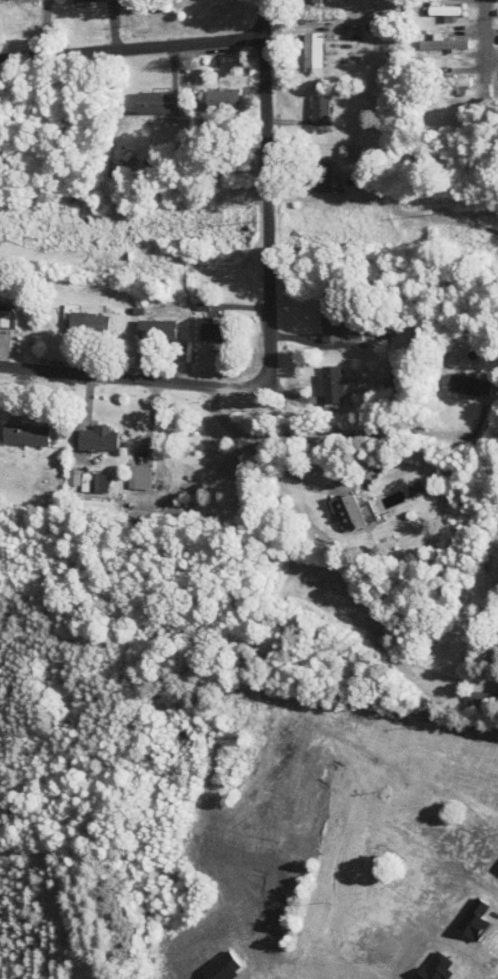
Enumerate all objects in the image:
building: (88, 0)
road: (492, 0)
building: (310, 1)
road: (469, 9)
building: (441, 10)
road: (112, 28)
road: (289, 28)
road: (47, 33)
road: (492, 34)
road: (132, 46)
road: (469, 47)
building: (312, 50)
road: (487, 60)
road: (218, 61)
road: (172, 65)
road: (492, 72)
building: (457, 83)
road: (469, 88)
building: (221, 99)
building: (157, 102)
building: (322, 109)
road: (288, 120)
building: (343, 151)
road: (288, 164)
building: (323, 175)
road: (267, 196)
building: (6, 318)
building: (88, 321)
building: (336, 325)
building: (155, 327)
building: (214, 330)
road: (302, 335)
road: (76, 351)
road: (172, 358)
road: (136, 379)
building: (469, 383)
building: (331, 384)
road: (302, 395)
road: (17, 398)
road: (89, 405)
road: (223, 415)
building: (24, 433)
road: (248, 435)
road: (392, 435)
building: (97, 437)
building: (160, 474)
building: (137, 476)
building: (352, 511)
road: (427, 816)
building: (427, 839)
road: (449, 925)

